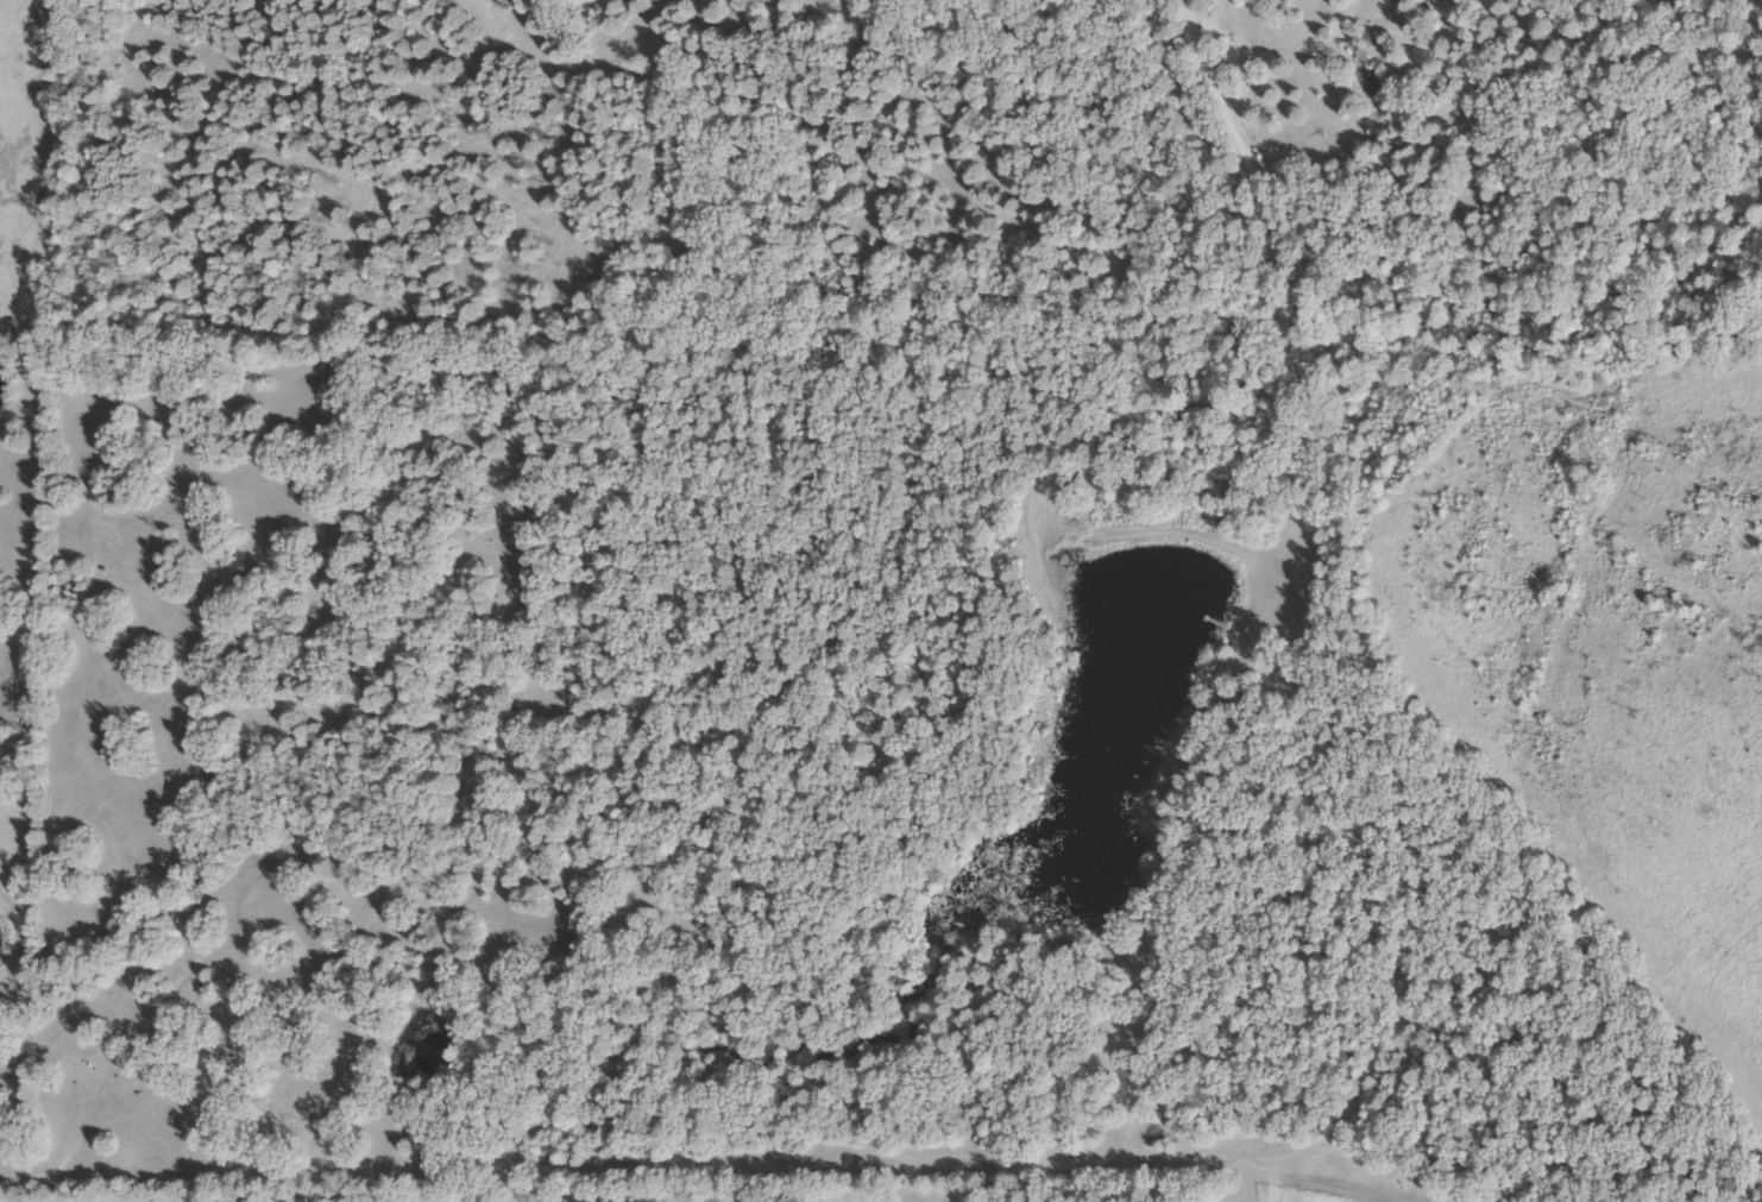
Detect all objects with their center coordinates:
road: (1345, 635)

